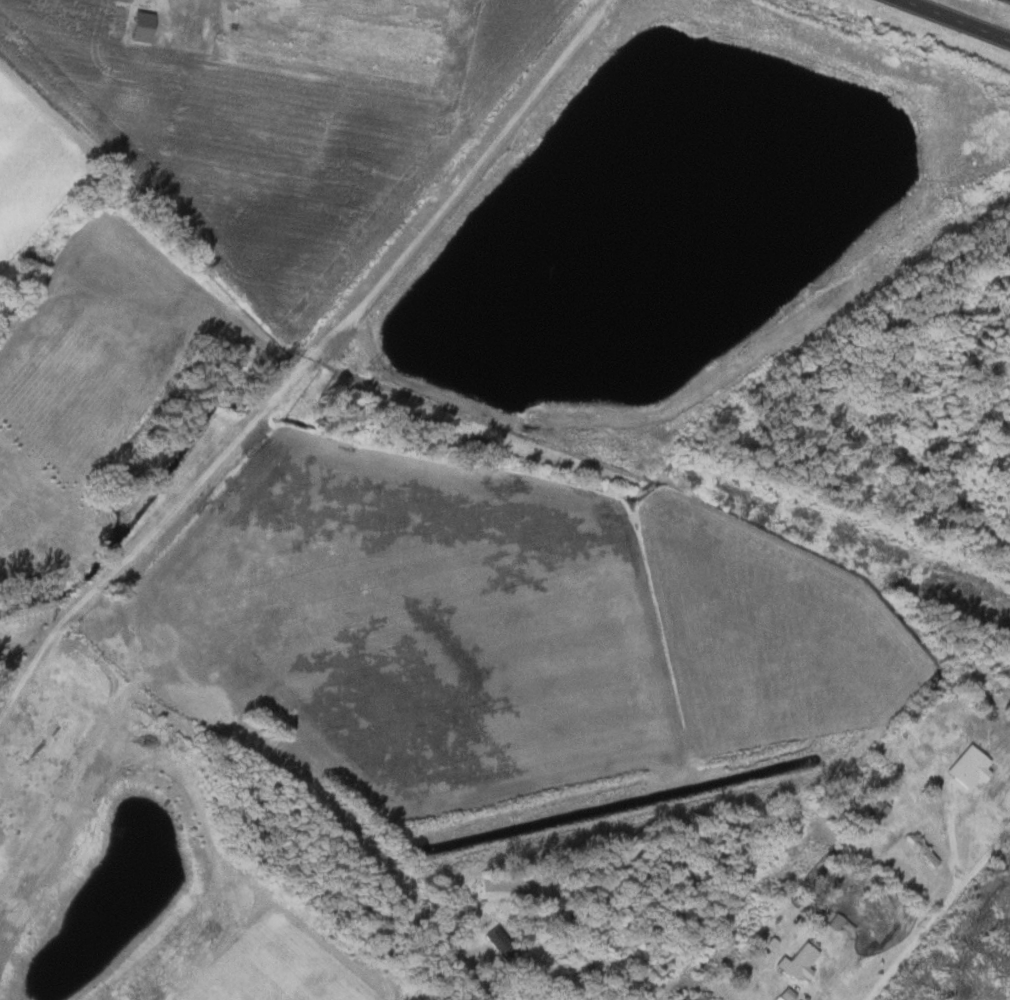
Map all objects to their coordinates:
road: (957, 19)
building: (139, 24)
road: (299, 358)
power tower: (367, 365)
power tower: (746, 509)
building: (986, 705)
building: (40, 735)
road: (304, 786)
building: (967, 792)
building: (921, 850)
road: (939, 913)
building: (499, 945)
building: (645, 987)

